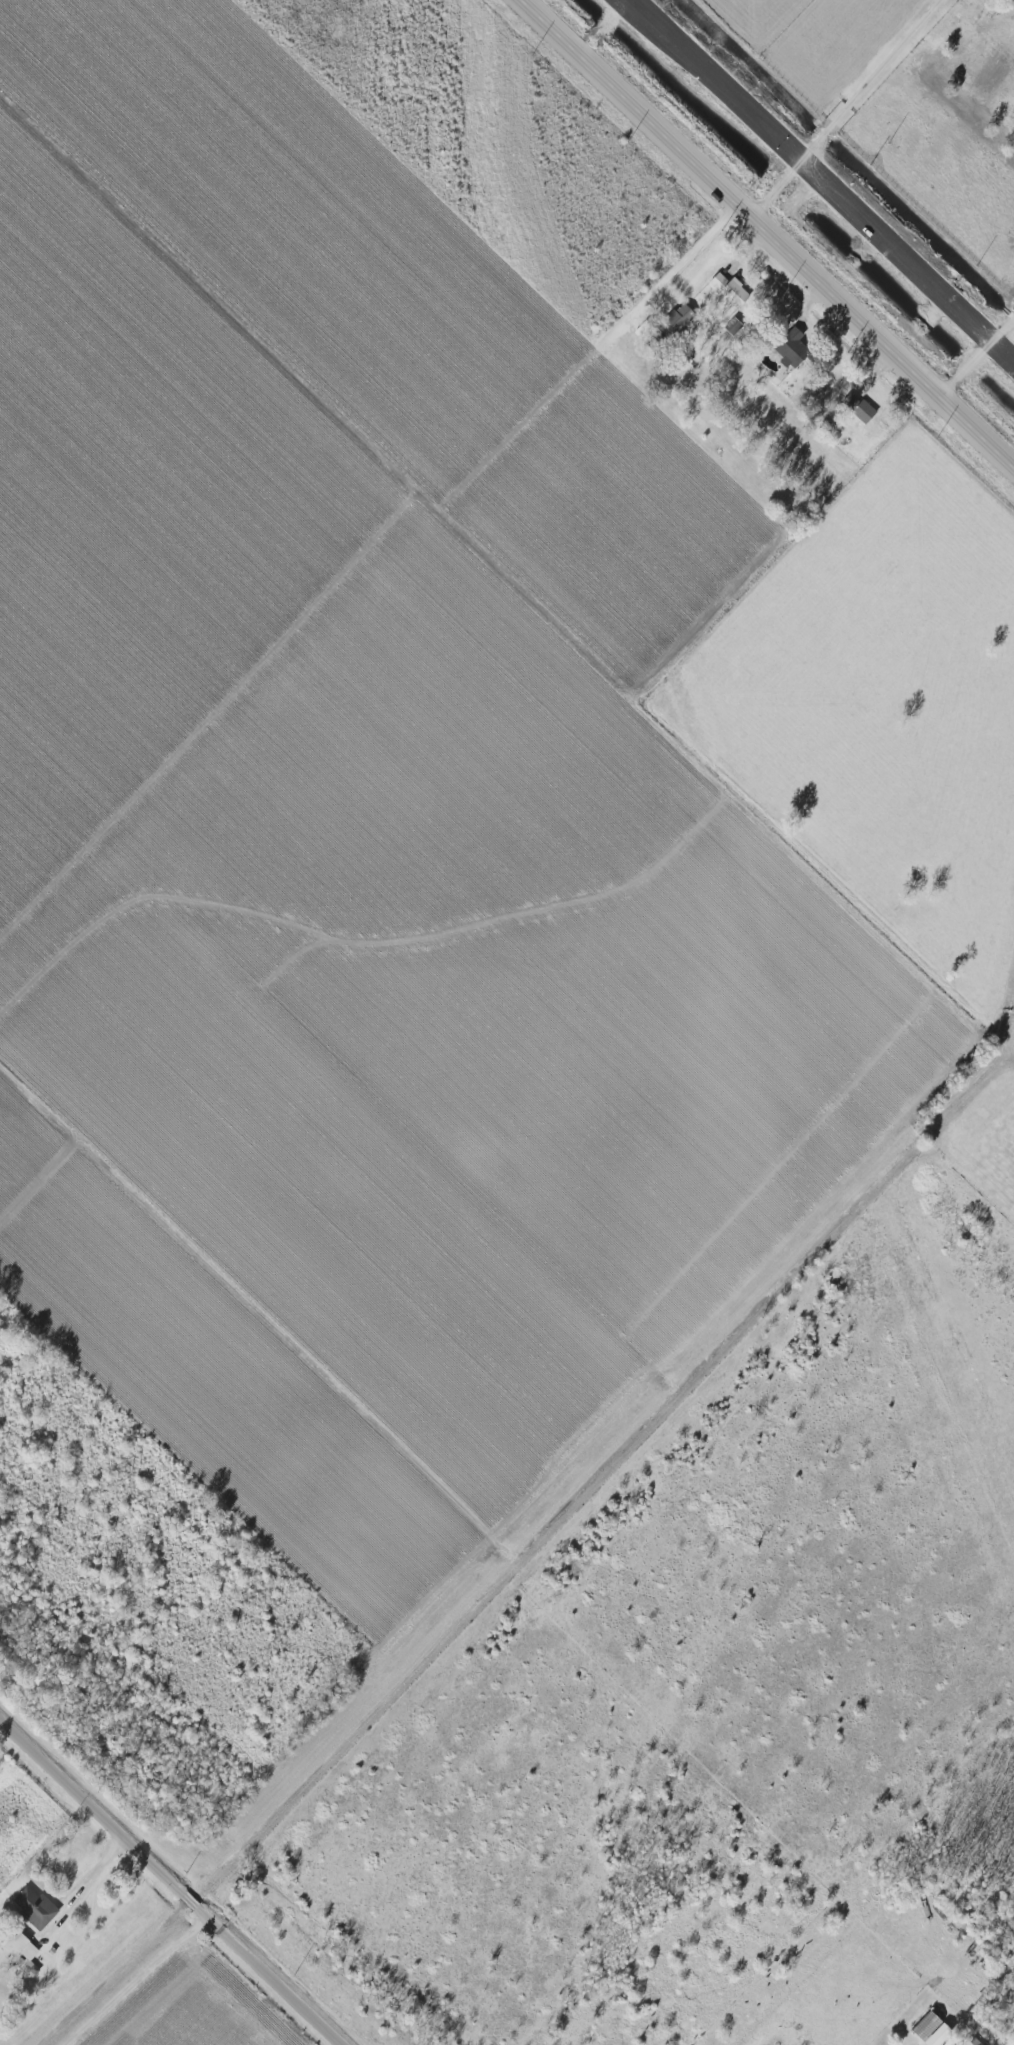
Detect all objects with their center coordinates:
road: (844, 112)
road: (762, 239)
road: (680, 262)
building: (727, 290)
building: (674, 316)
building: (730, 327)
building: (787, 346)
road: (973, 359)
building: (857, 409)
road: (94, 1871)
road: (173, 1879)
building: (31, 1908)
building: (18, 1949)
building: (928, 2029)

